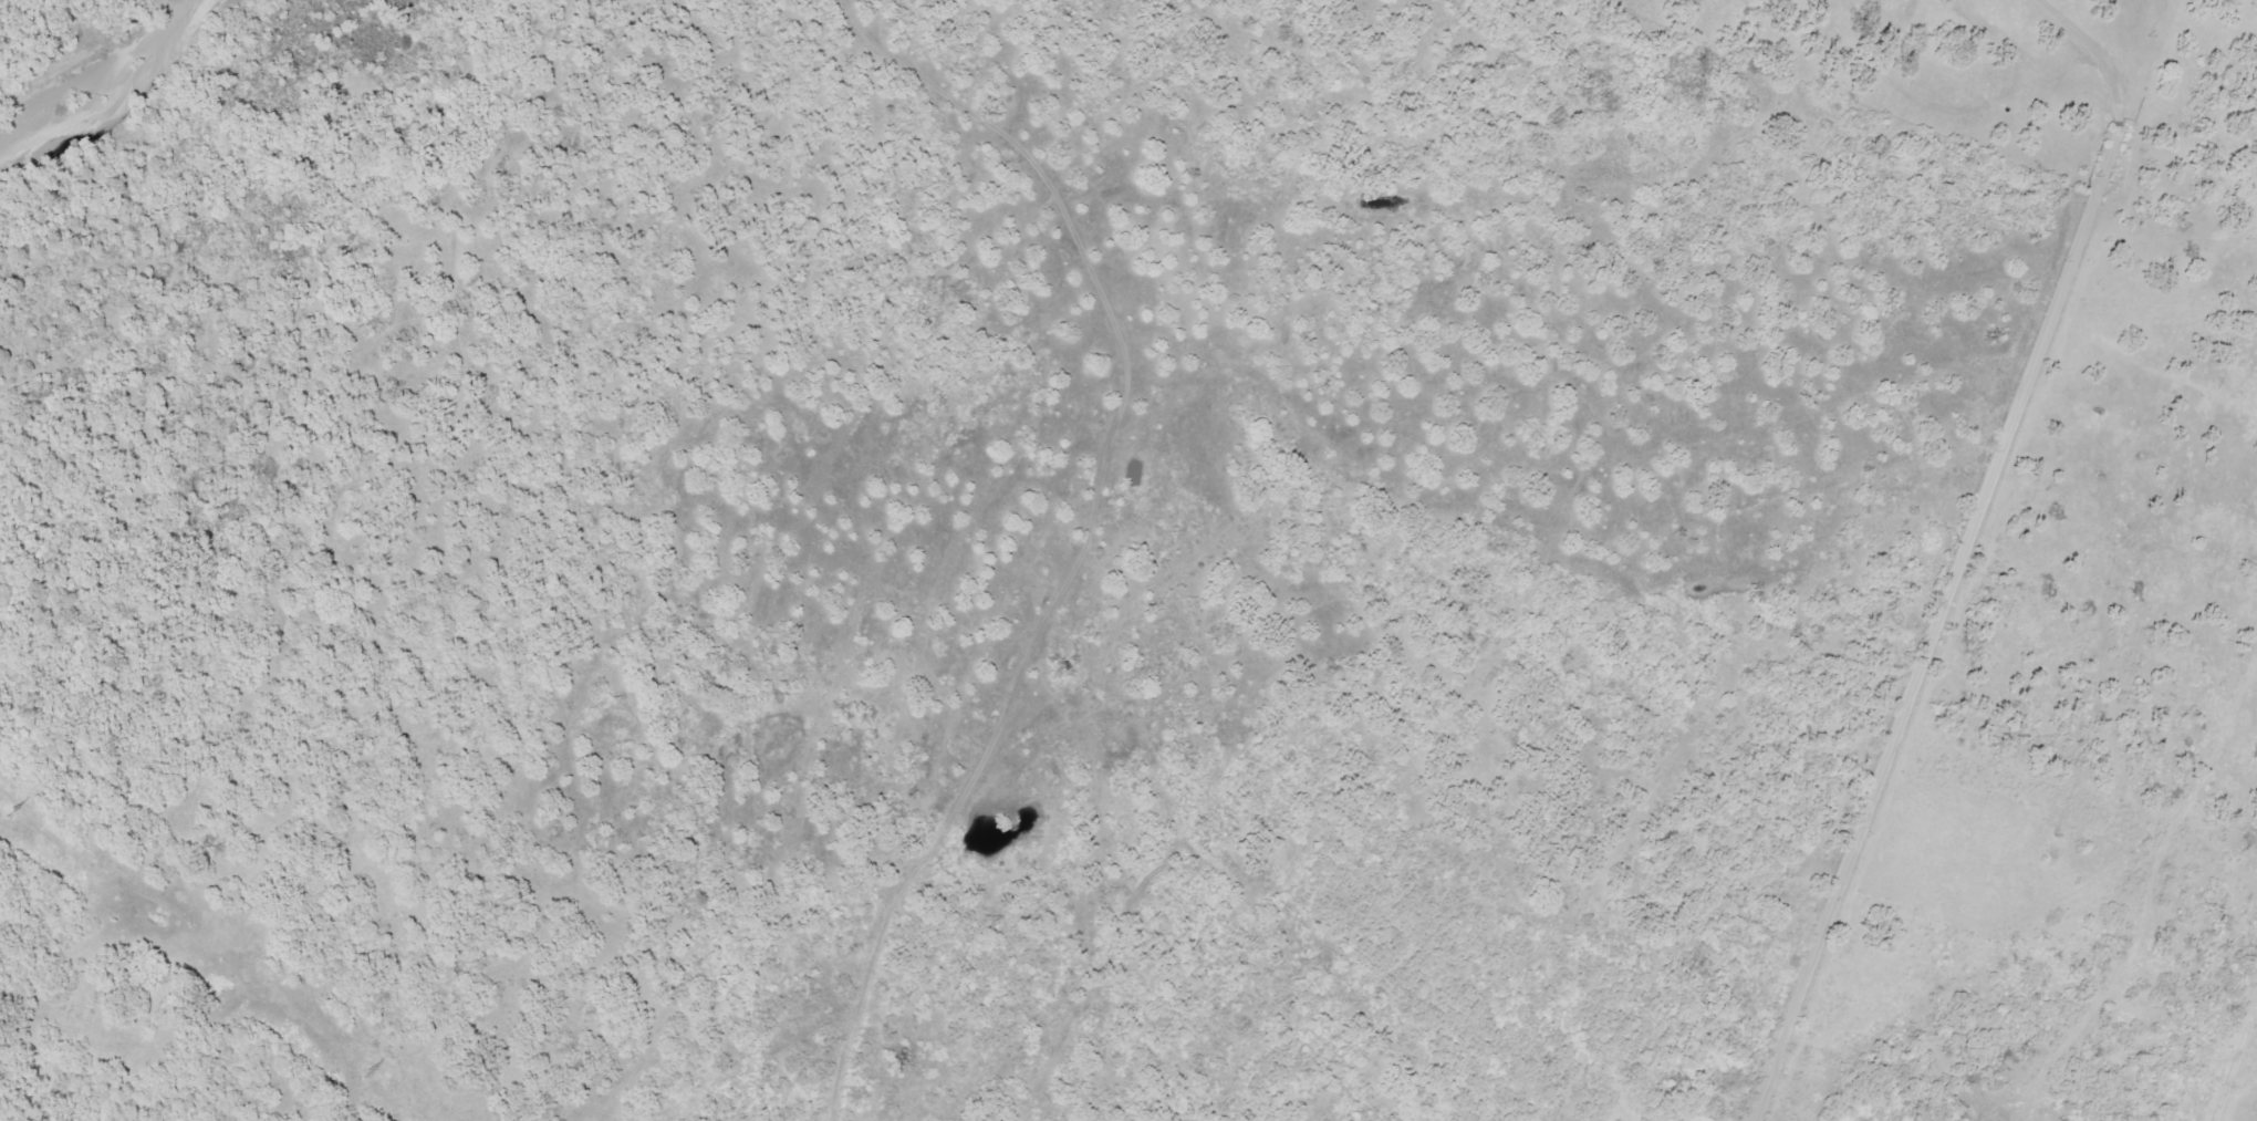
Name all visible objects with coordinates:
road: (1964, 542)
power tower: (6, 812)
power tower: (363, 1073)

